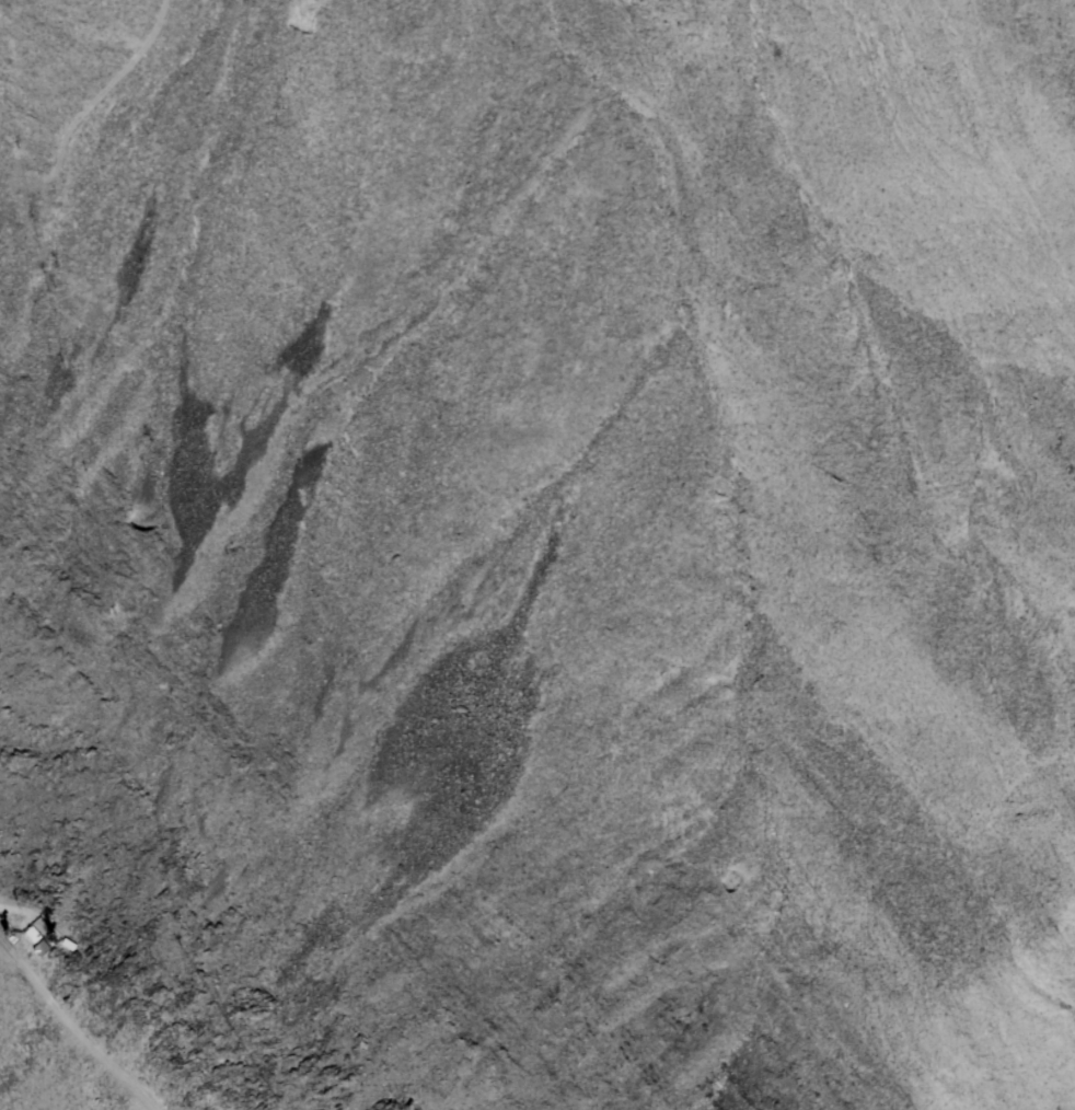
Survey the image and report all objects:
road: (67, 1031)

